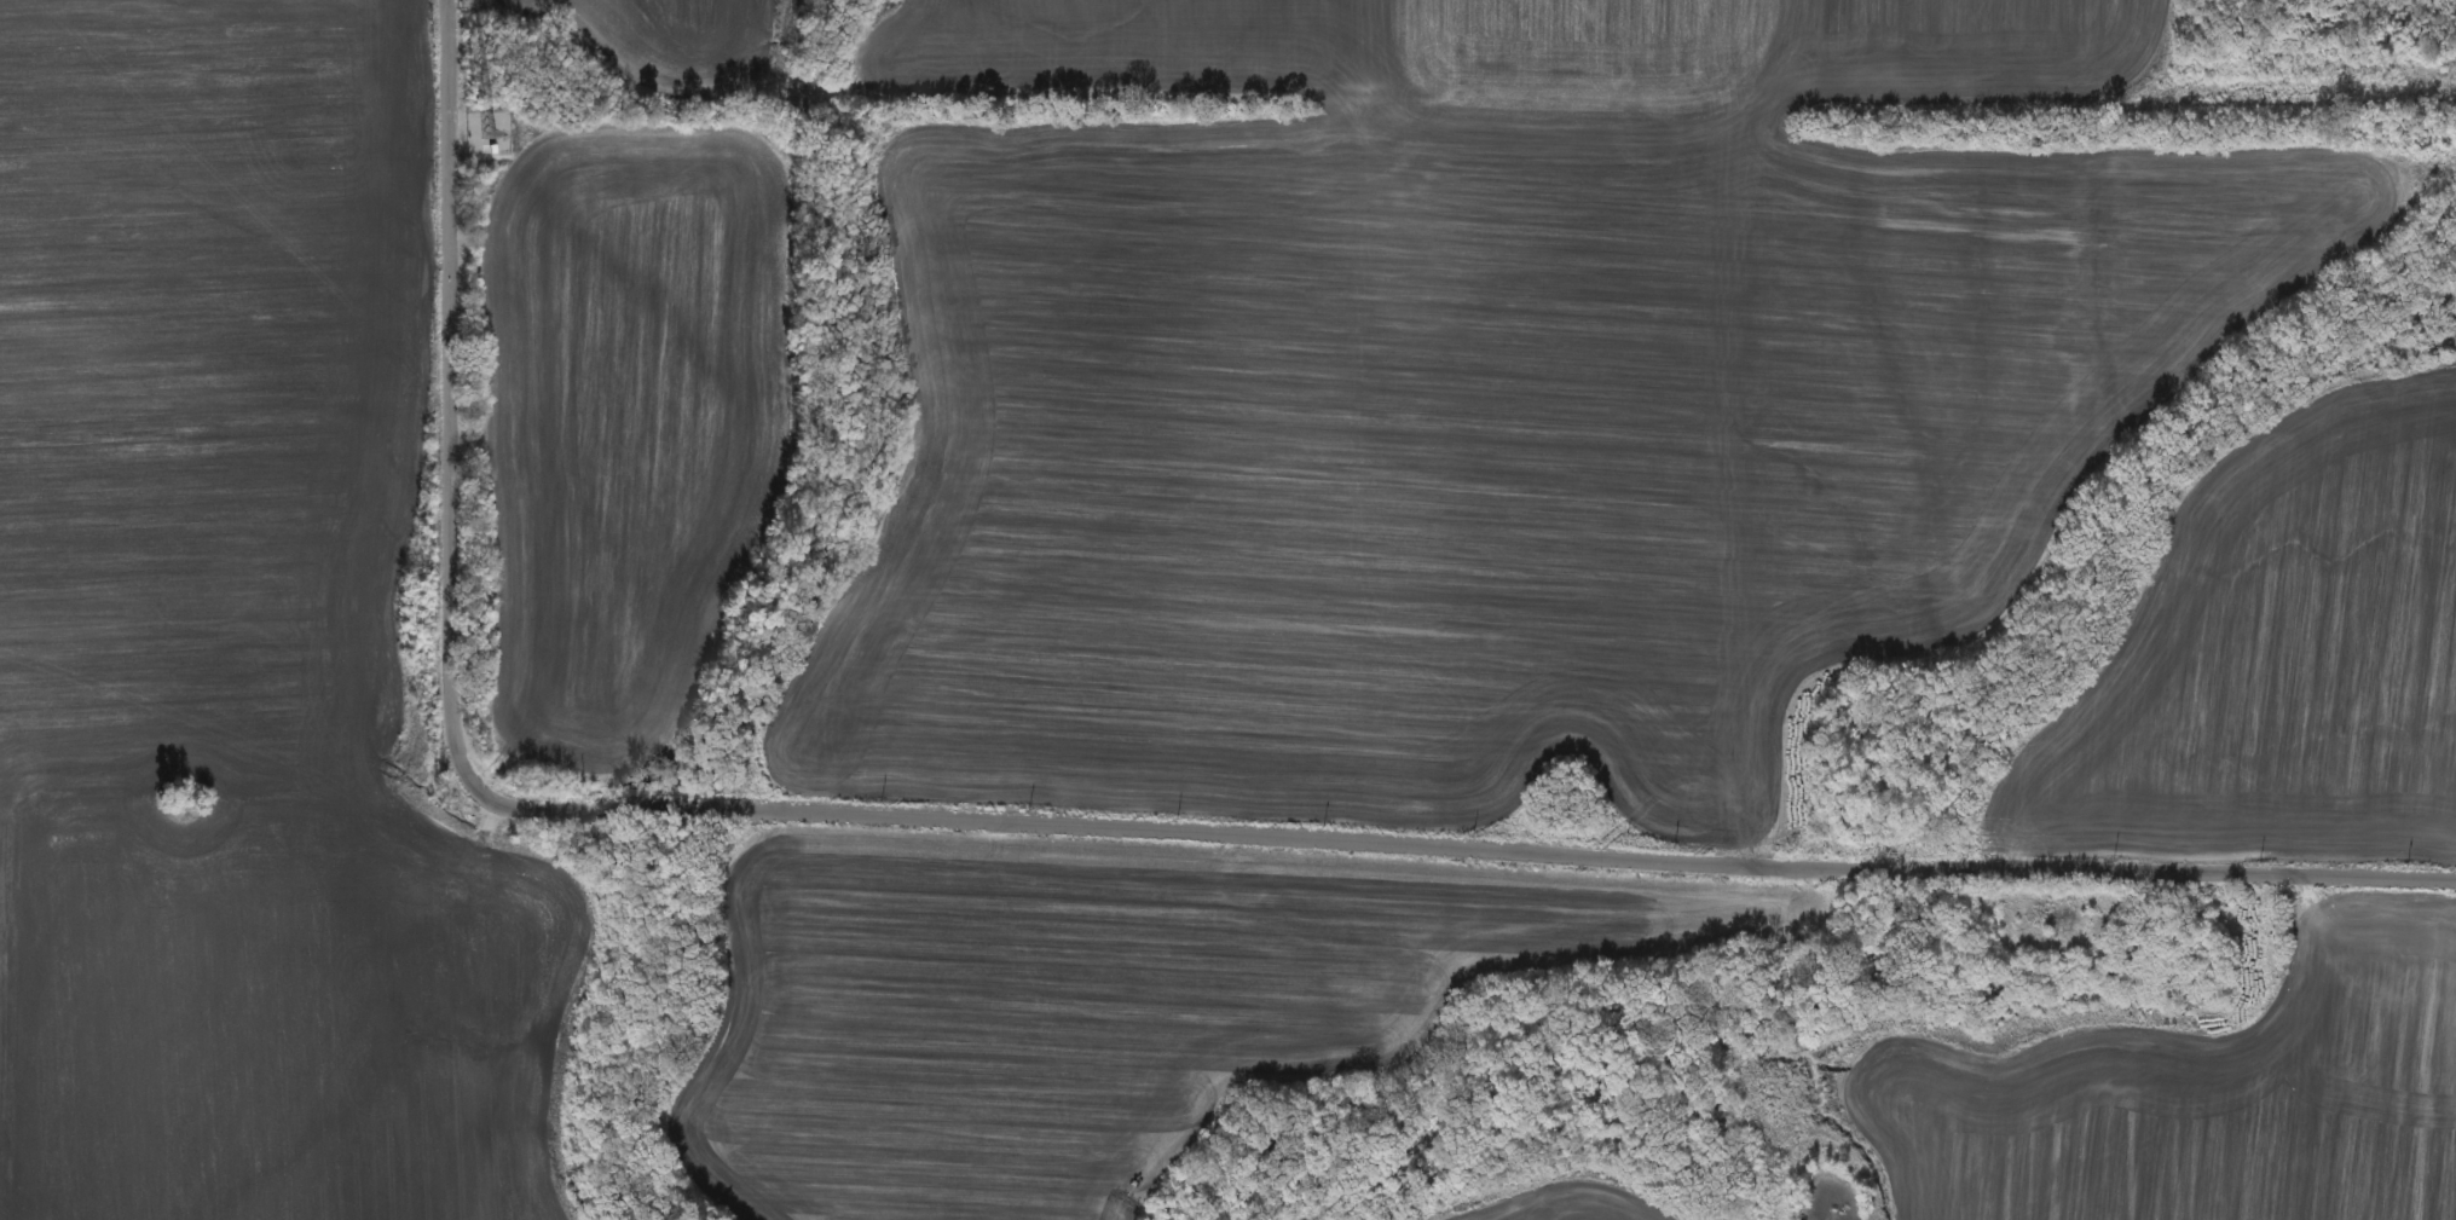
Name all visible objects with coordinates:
road: (1067, 826)
building: (2123, 954)
building: (2109, 975)

